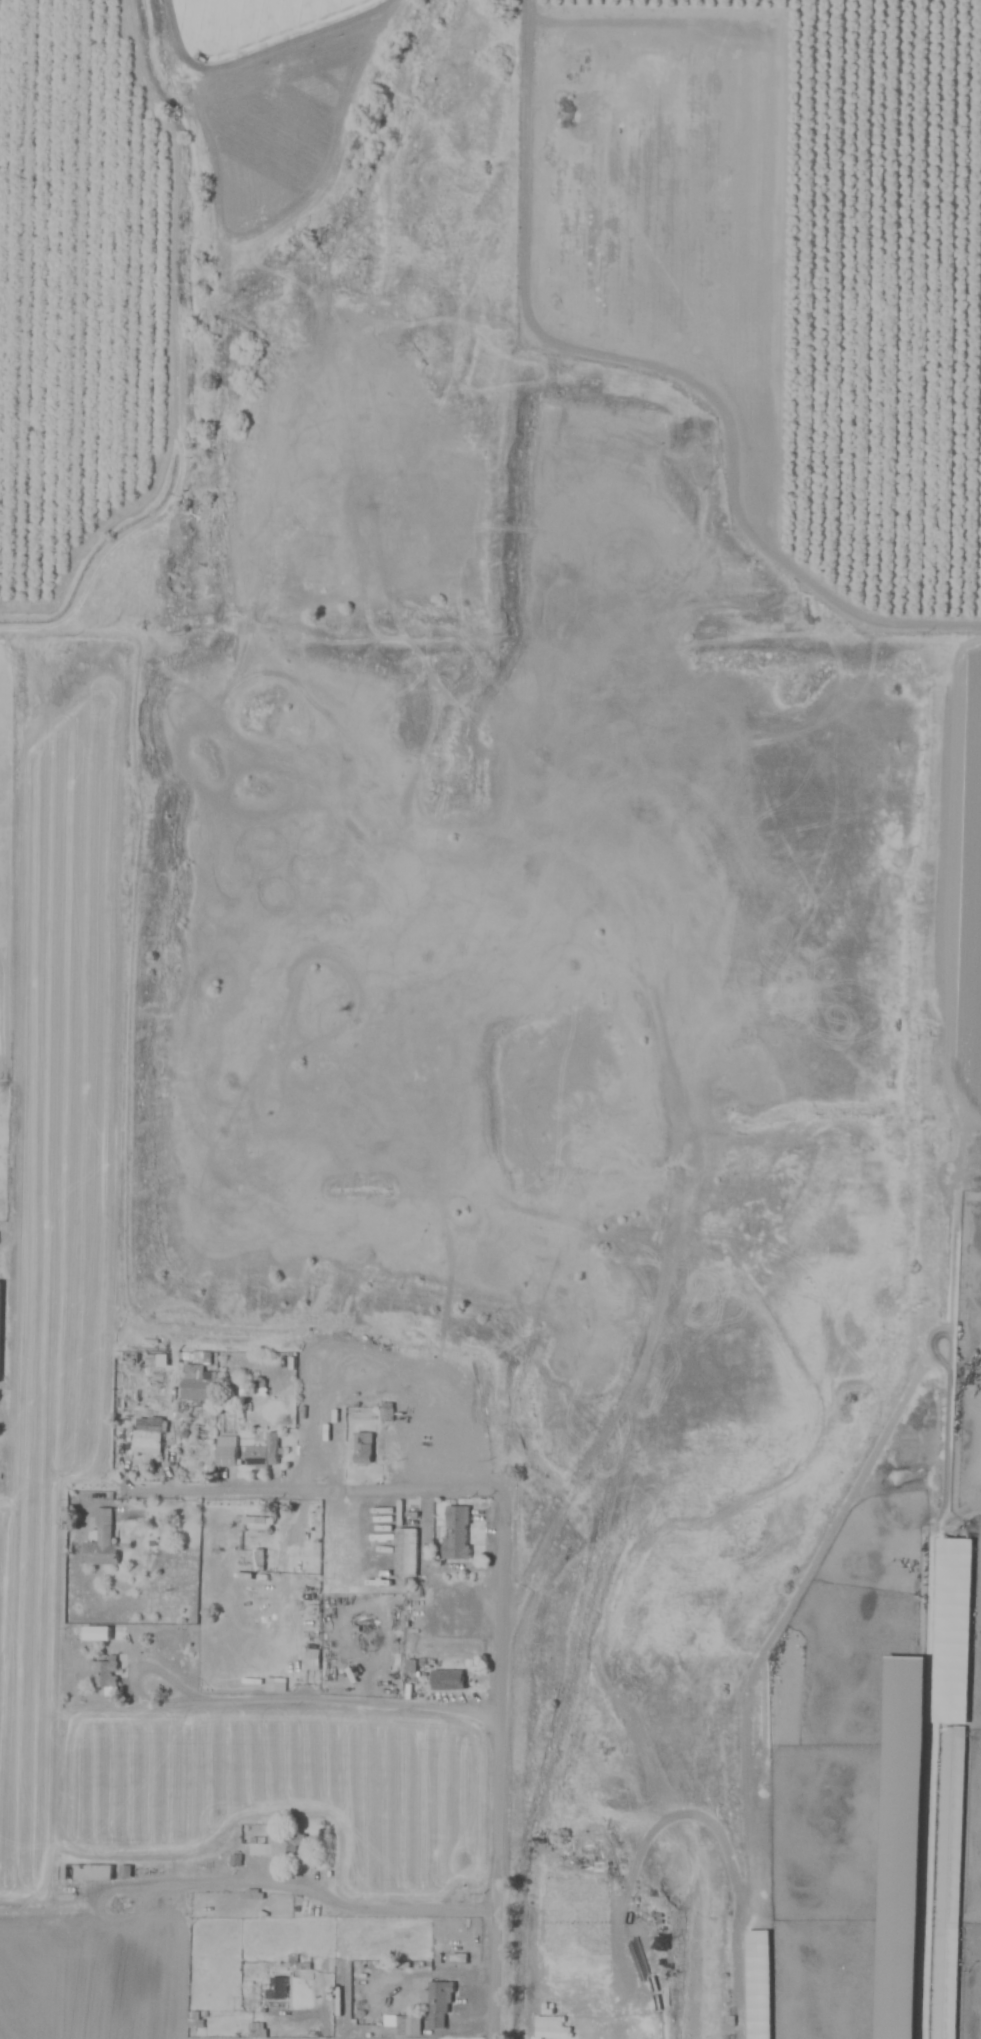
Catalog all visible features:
crop: (127, 262)
crop: (797, 289)
building: (0, 1331)
building: (197, 1384)
building: (420, 1392)
building: (148, 1435)
building: (363, 1448)
building: (226, 1451)
building: (262, 1453)
road: (323, 1489)
building: (257, 1523)
building: (455, 1533)
building: (101, 1542)
building: (406, 1552)
building: (260, 1558)
building: (106, 1674)
building: (446, 1680)
road: (278, 1701)
crop: (213, 1758)
road: (509, 1766)
building: (278, 1846)
building: (896, 1848)
building: (85, 1873)
building: (947, 1882)
road: (324, 1895)
building: (755, 1985)
building: (275, 1989)
building: (436, 2009)
road: (335, 2016)
building: (408, 2027)

